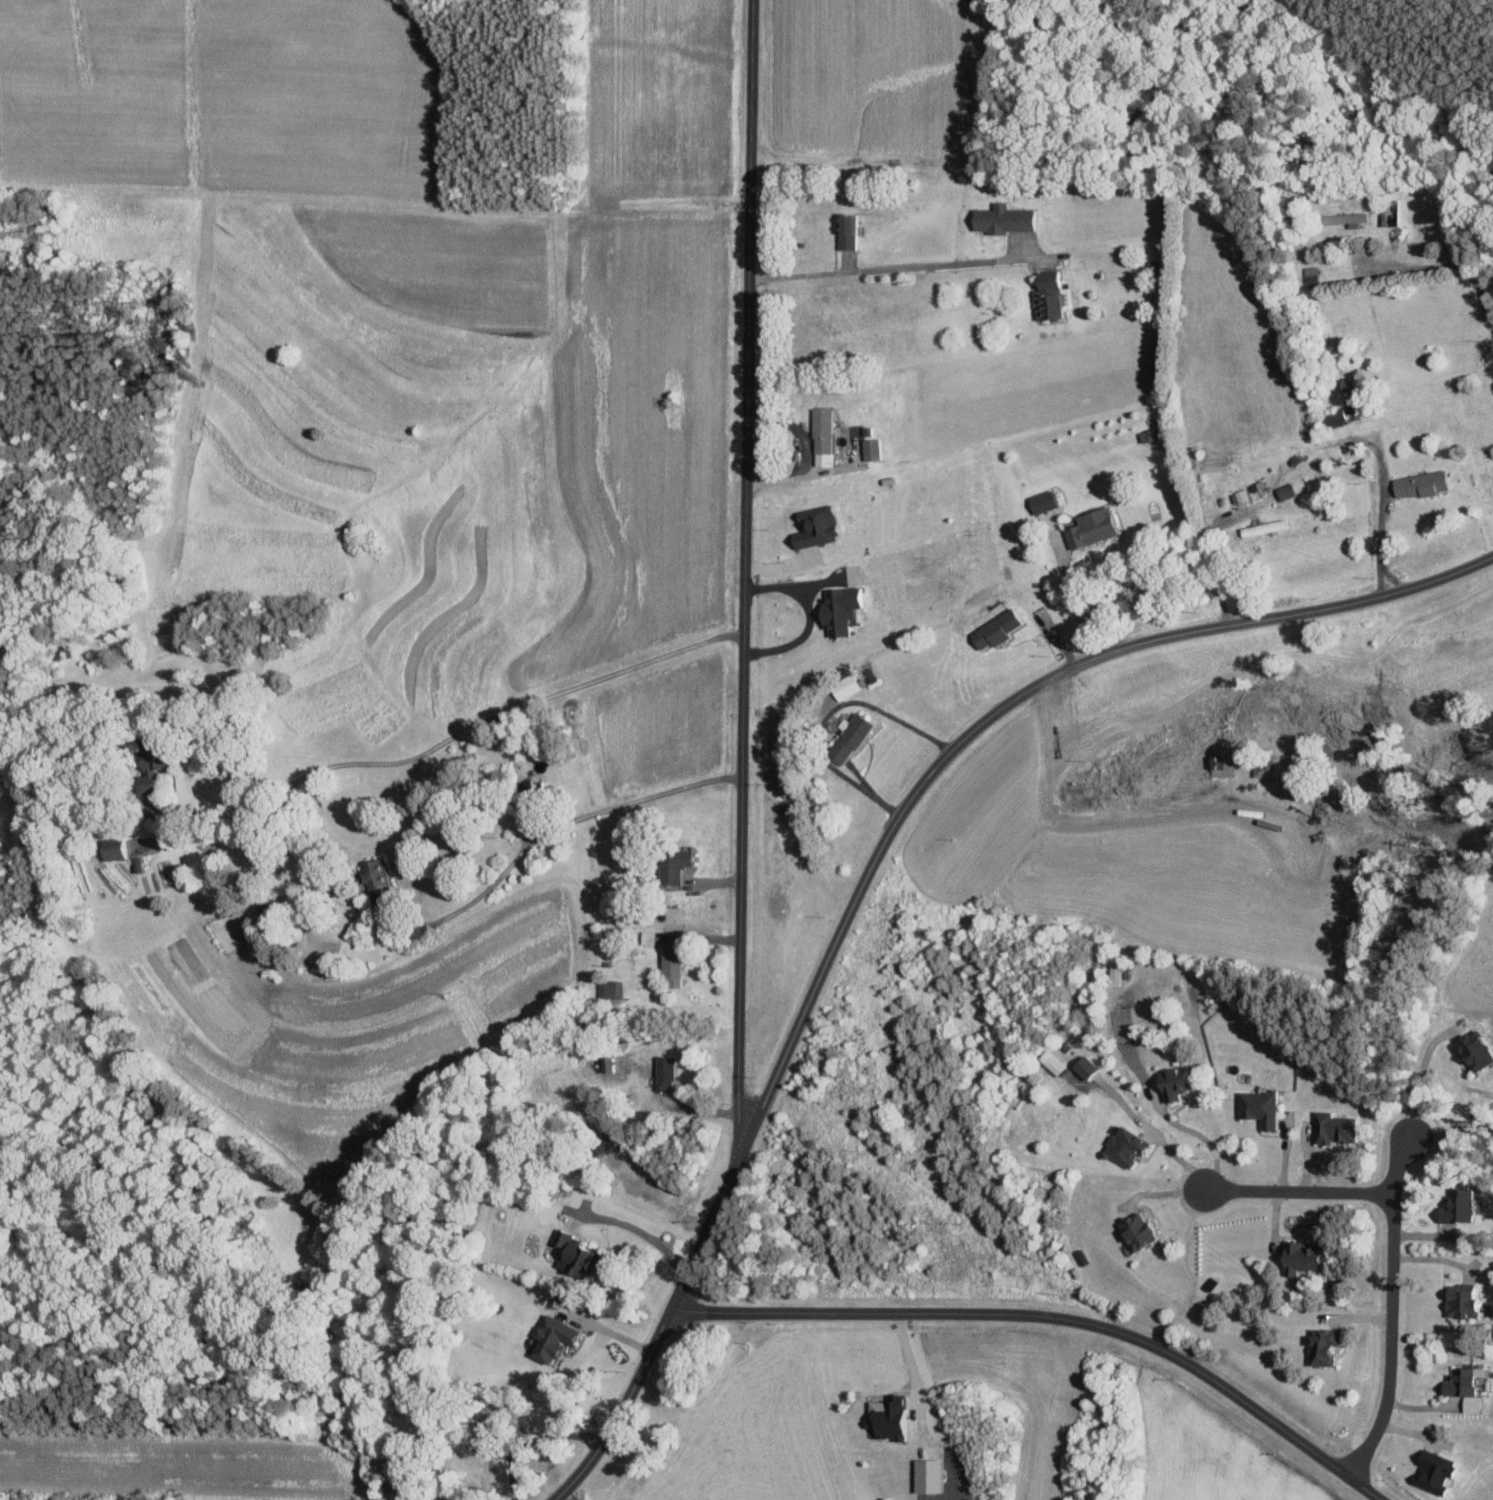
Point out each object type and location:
building: (1000, 218)
building: (1343, 218)
building: (844, 230)
road: (1433, 266)
road: (884, 269)
building: (1045, 297)
building: (1346, 383)
building: (1339, 417)
building: (1148, 434)
building: (821, 436)
building: (869, 448)
road: (802, 476)
building: (1418, 484)
building: (1284, 491)
building: (1040, 501)
building: (1089, 526)
building: (1263, 527)
building: (813, 528)
road: (1379, 542)
road: (1209, 557)
road: (745, 565)
road: (1391, 577)
road: (1075, 606)
building: (837, 608)
road: (806, 619)
building: (993, 629)
building: (844, 686)
road: (826, 715)
road: (450, 736)
building: (846, 739)
building: (1266, 766)
building: (1222, 767)
building: (146, 772)
road: (1149, 809)
road: (528, 845)
building: (110, 849)
road: (875, 860)
building: (136, 864)
building: (670, 865)
building: (374, 876)
building: (645, 937)
road: (640, 939)
building: (669, 964)
building: (608, 989)
building: (1114, 1031)
building: (1472, 1051)
building: (1049, 1062)
building: (1082, 1066)
building: (662, 1073)
road: (1415, 1075)
building: (1172, 1082)
building: (1256, 1108)
building: (1332, 1128)
road: (1451, 1128)
road: (1198, 1134)
building: (599, 1144)
building: (1122, 1146)
road: (1396, 1169)
building: (1455, 1206)
building: (1134, 1231)
road: (651, 1238)
road: (1393, 1249)
building: (570, 1254)
building: (1296, 1258)
road: (1439, 1259)
building: (1459, 1302)
road: (1052, 1316)
road: (606, 1330)
building: (548, 1339)
building: (1320, 1347)
road: (912, 1380)
building: (1463, 1387)
building: (886, 1419)
road: (1154, 1423)
building: (1431, 1471)

